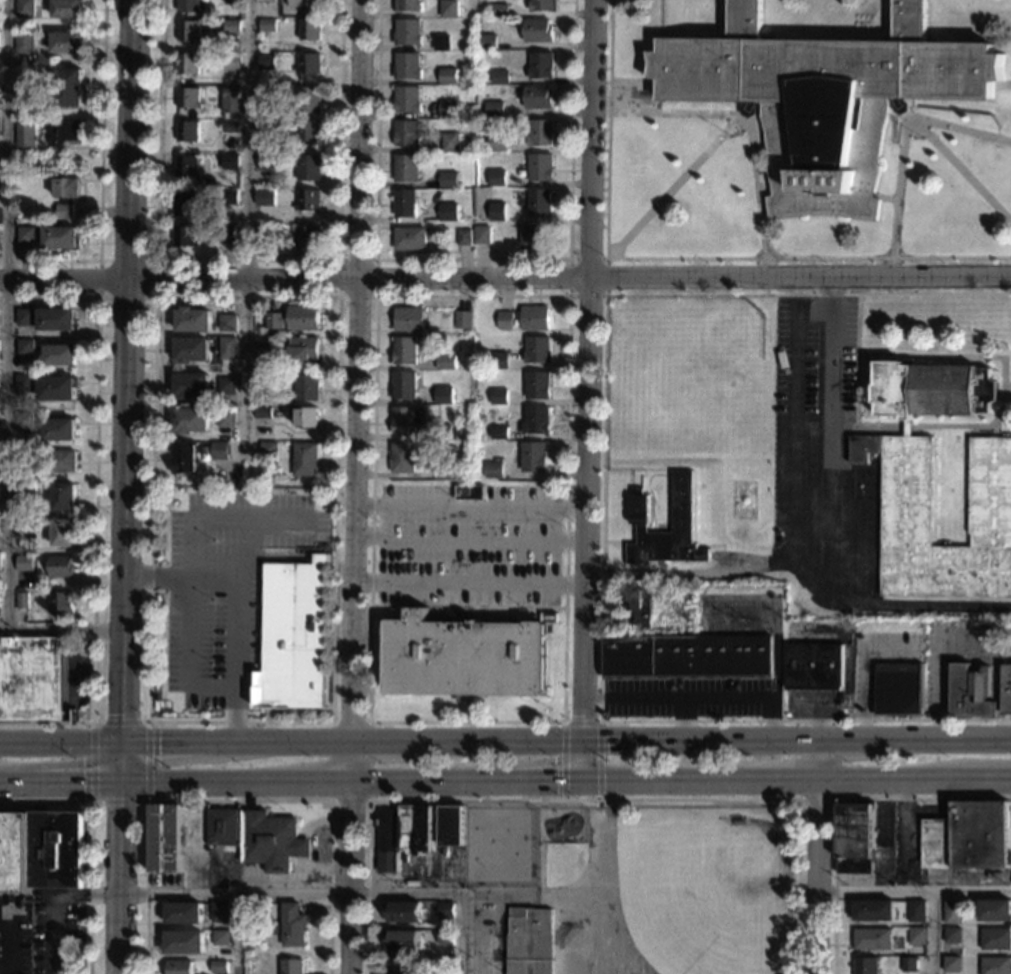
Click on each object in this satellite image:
building: (234, 1)
building: (269, 1)
building: (307, 3)
building: (188, 5)
building: (409, 6)
building: (542, 6)
building: (24, 8)
building: (67, 8)
building: (450, 8)
building: (499, 11)
building: (268, 25)
building: (233, 26)
building: (311, 30)
building: (537, 30)
building: (189, 31)
building: (409, 32)
building: (24, 42)
building: (66, 43)
building: (443, 43)
building: (487, 43)
building: (36, 58)
building: (233, 62)
building: (267, 62)
building: (188, 63)
building: (311, 64)
building: (408, 66)
building: (541, 66)
building: (449, 76)
building: (499, 78)
road: (632, 82)
road: (1001, 85)
building: (68, 87)
building: (232, 93)
building: (268, 94)
building: (537, 97)
building: (188, 98)
building: (822, 98)
building: (408, 99)
building: (311, 100)
building: (449, 109)
building: (494, 109)
building: (36, 116)
road: (744, 122)
building: (231, 127)
building: (268, 128)
building: (64, 131)
building: (187, 131)
building: (310, 131)
building: (540, 133)
building: (25, 134)
building: (407, 134)
road: (902, 135)
building: (451, 142)
building: (497, 143)
building: (266, 161)
building: (231, 162)
building: (29, 165)
building: (187, 165)
building: (310, 168)
building: (407, 168)
building: (540, 168)
road: (960, 170)
building: (496, 178)
road: (100, 179)
building: (449, 180)
road: (672, 188)
road: (764, 194)
building: (66, 196)
building: (230, 197)
building: (265, 197)
road: (885, 197)
building: (309, 200)
building: (539, 202)
building: (186, 203)
building: (405, 203)
building: (449, 212)
building: (497, 216)
building: (265, 233)
building: (229, 234)
building: (26, 236)
building: (186, 236)
building: (309, 236)
building: (482, 236)
road: (249, 237)
building: (464, 237)
building: (61, 238)
building: (410, 239)
building: (535, 239)
road: (678, 258)
road: (375, 259)
road: (472, 259)
road: (605, 259)
road: (245, 260)
road: (154, 261)
road: (505, 277)
road: (337, 296)
road: (568, 296)
road: (8, 316)
building: (24, 317)
building: (294, 318)
building: (462, 319)
building: (534, 319)
building: (57, 320)
building: (193, 320)
building: (409, 320)
building: (504, 321)
building: (228, 323)
building: (262, 332)
building: (25, 348)
building: (227, 348)
building: (192, 350)
building: (263, 350)
building: (536, 350)
building: (303, 351)
building: (405, 351)
building: (60, 355)
building: (498, 360)
building: (446, 362)
building: (264, 377)
park: (679, 381)
building: (23, 383)
building: (192, 385)
building: (536, 385)
building: (225, 386)
building: (403, 386)
building: (307, 387)
building: (58, 388)
building: (932, 390)
road: (588, 391)
road: (126, 392)
road: (1007, 392)
building: (443, 395)
building: (498, 397)
building: (263, 412)
building: (306, 416)
building: (227, 418)
building: (405, 419)
building: (24, 420)
building: (191, 421)
building: (535, 421)
road: (967, 426)
building: (907, 428)
building: (59, 430)
building: (442, 432)
building: (498, 433)
building: (268, 450)
building: (220, 451)
building: (25, 452)
parking lot: (821, 454)
road: (827, 455)
building: (533, 457)
building: (186, 458)
building: (402, 458)
building: (305, 459)
building: (61, 461)
building: (443, 470)
building: (493, 470)
road: (354, 487)
building: (26, 494)
building: (65, 497)
building: (905, 499)
road: (469, 505)
road: (94, 506)
building: (681, 509)
road: (602, 511)
road: (793, 521)
building: (63, 533)
building: (776, 538)
road: (469, 542)
parking lot: (468, 547)
building: (18, 549)
building: (24, 563)
building: (61, 567)
road: (191, 570)
road: (690, 574)
road: (182, 578)
road: (468, 584)
parking lot: (230, 587)
building: (22, 600)
building: (62, 603)
building: (638, 607)
road: (775, 620)
road: (62, 632)
road: (237, 633)
building: (293, 636)
building: (687, 656)
parking lot: (775, 656)
building: (465, 657)
building: (813, 667)
building: (32, 680)
building: (960, 683)
building: (898, 689)
building: (1006, 689)
road: (699, 698)
traffic signals: (582, 716)
road: (581, 721)
road: (683, 721)
road: (148, 722)
road: (368, 722)
road: (505, 744)
traffic signals: (581, 745)
traffic signals: (606, 745)
traffic signals: (122, 747)
road: (176, 759)
road: (61, 763)
road: (836, 778)
road: (984, 781)
traffic signals: (580, 782)
road: (769, 782)
road: (306, 783)
road: (535, 783)
traffic signals: (556, 783)
road: (60, 785)
traffic signals: (122, 785)
road: (836, 798)
road: (583, 800)
road: (238, 801)
road: (598, 803)
road: (587, 810)
building: (452, 826)
building: (223, 827)
building: (402, 834)
building: (967, 837)
building: (165, 838)
building: (855, 838)
building: (271, 841)
road: (90, 842)
park: (500, 847)
building: (41, 851)
road: (816, 858)
road: (540, 864)
road: (121, 879)
road: (913, 890)
road: (534, 893)
road: (331, 894)
road: (496, 894)
road: (55, 902)
building: (445, 910)
building: (873, 910)
building: (995, 910)
building: (916, 911)
building: (219, 912)
building: (402, 912)
building: (952, 912)
building: (183, 913)
building: (292, 925)
parking lot: (485, 930)
road: (931, 932)
parking lot: (44, 933)
road: (236, 934)
road: (495, 934)
building: (952, 935)
building: (916, 937)
building: (221, 938)
building: (445, 938)
building: (873, 939)
building: (996, 939)
building: (401, 940)
road: (4, 941)
building: (528, 941)
building: (184, 943)
building: (952, 964)
building: (909, 965)
building: (996, 965)
building: (291, 966)
building: (866, 966)
building: (178, 967)
building: (218, 967)

